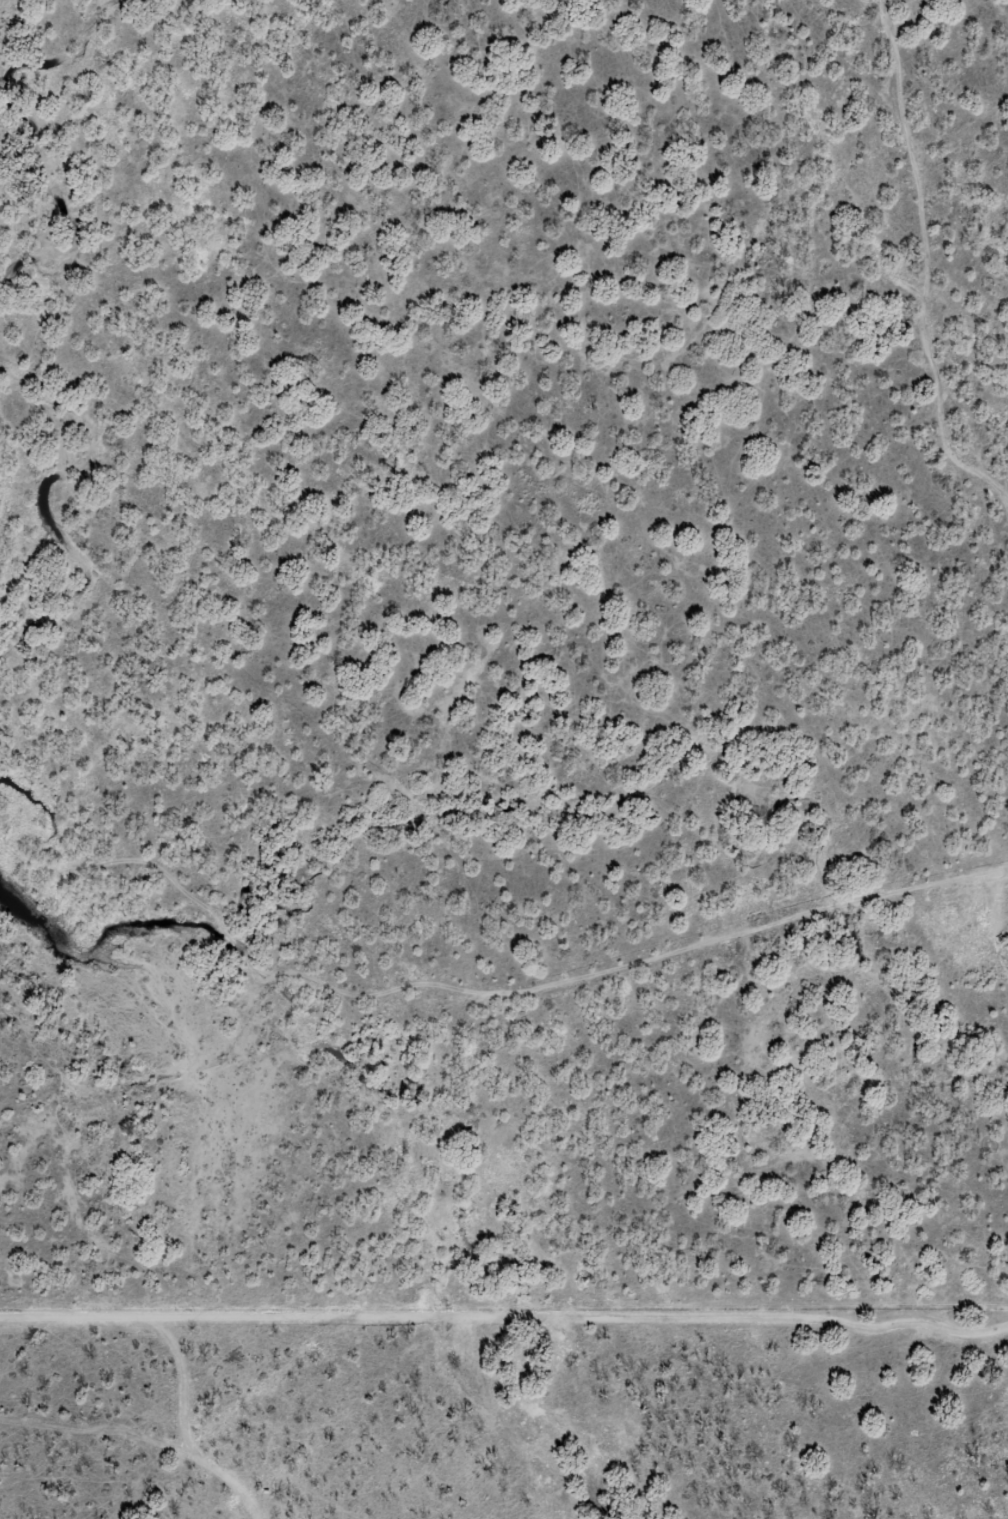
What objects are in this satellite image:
road: (942, 210)
road: (536, 990)
road: (153, 1450)

